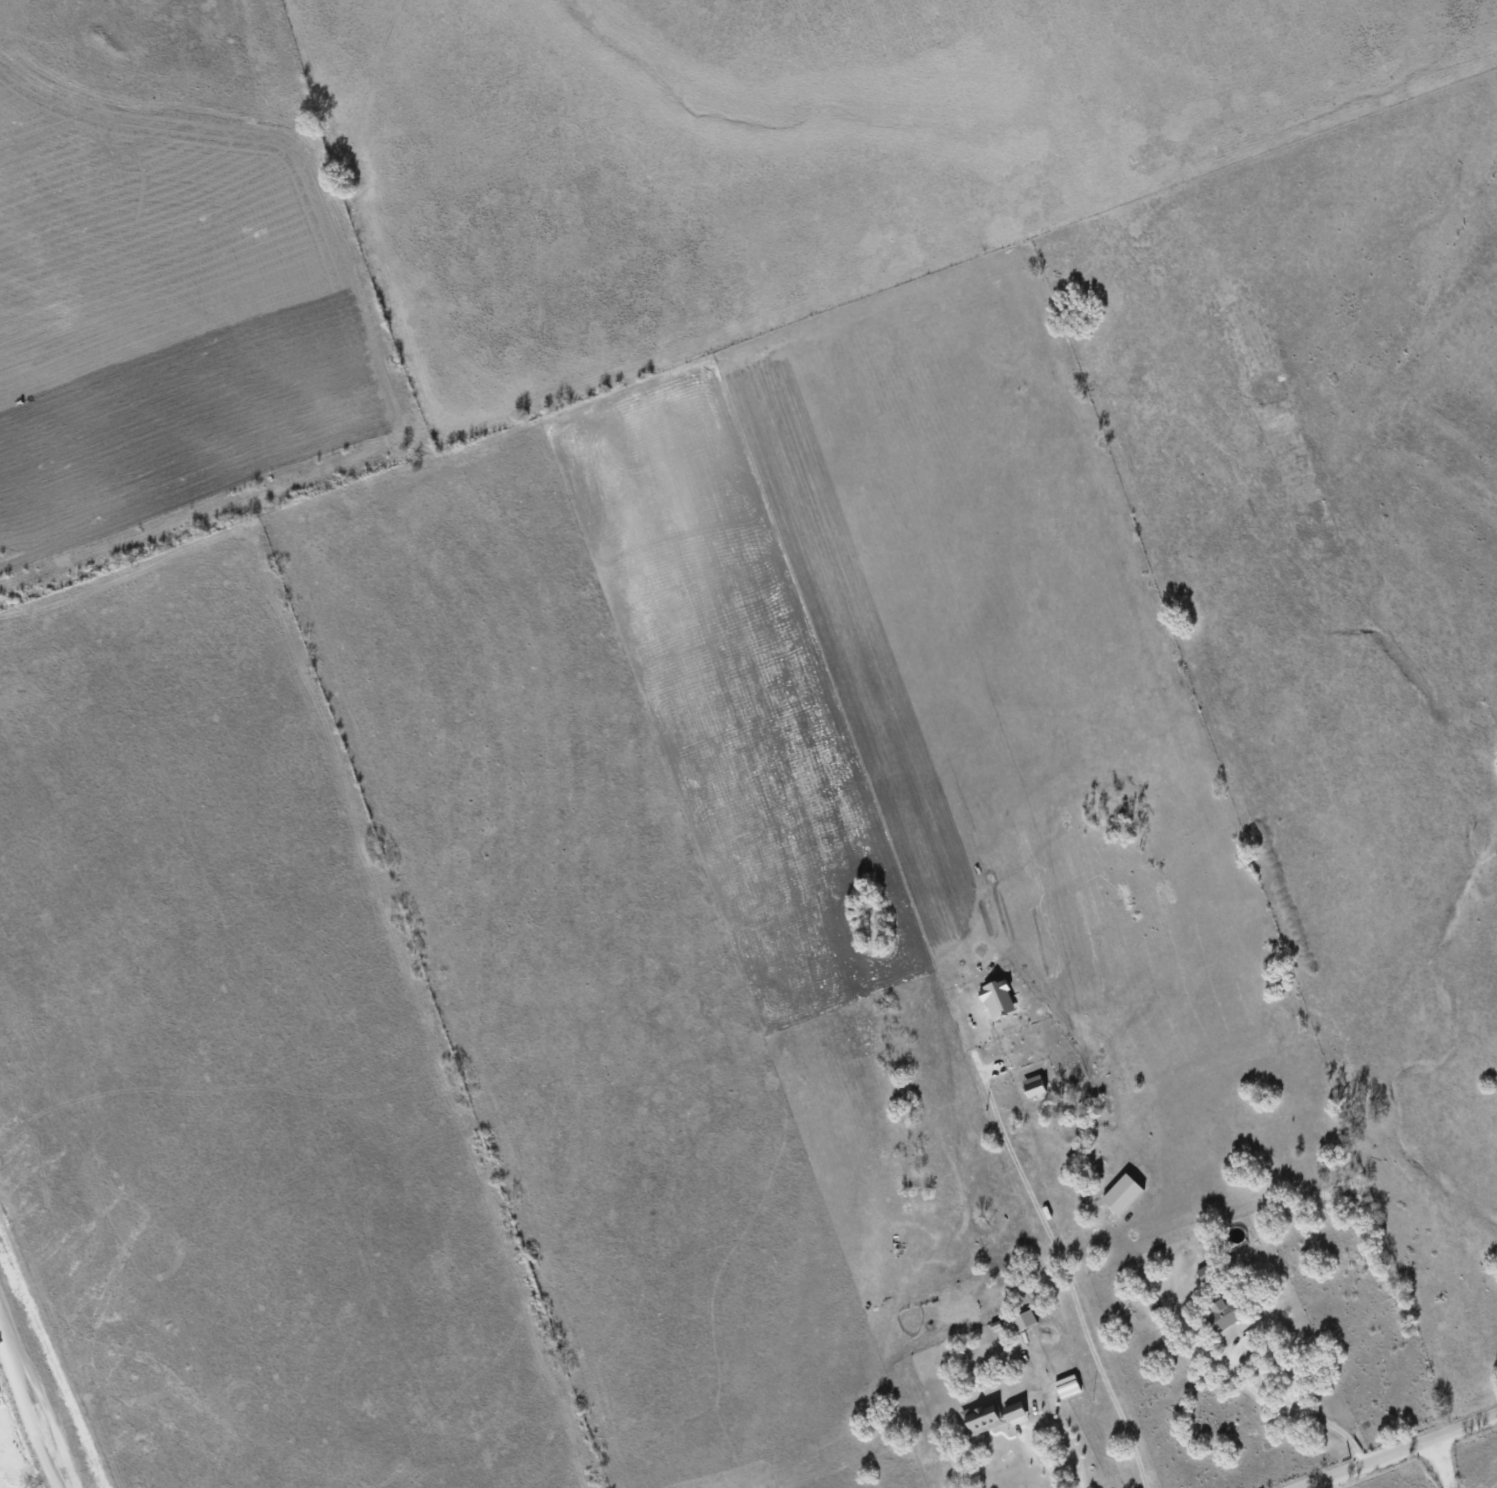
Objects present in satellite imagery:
building: (996, 998)
building: (1121, 1193)
road: (1063, 1272)
building: (1220, 1314)
building: (1022, 1320)
road: (1299, 1406)
building: (1013, 1410)
building: (982, 1416)
road: (1403, 1452)
road: (1440, 1464)

